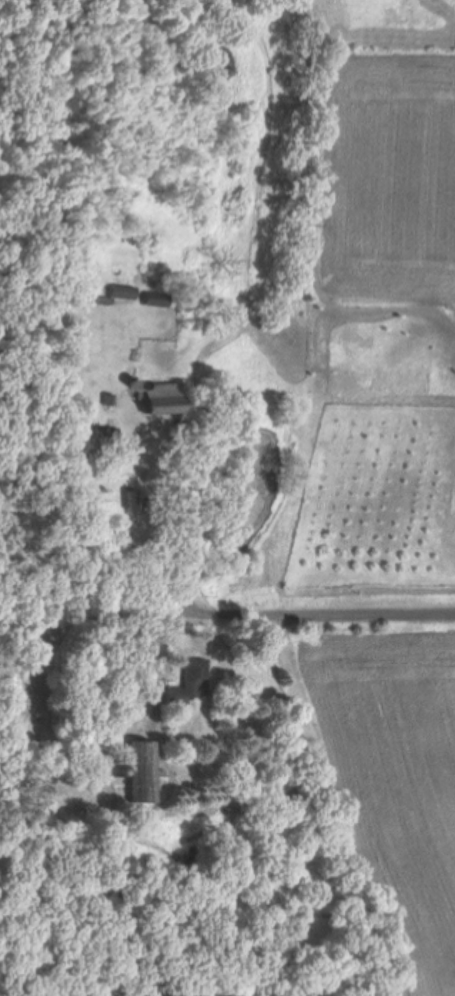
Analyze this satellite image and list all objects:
road: (321, 616)

